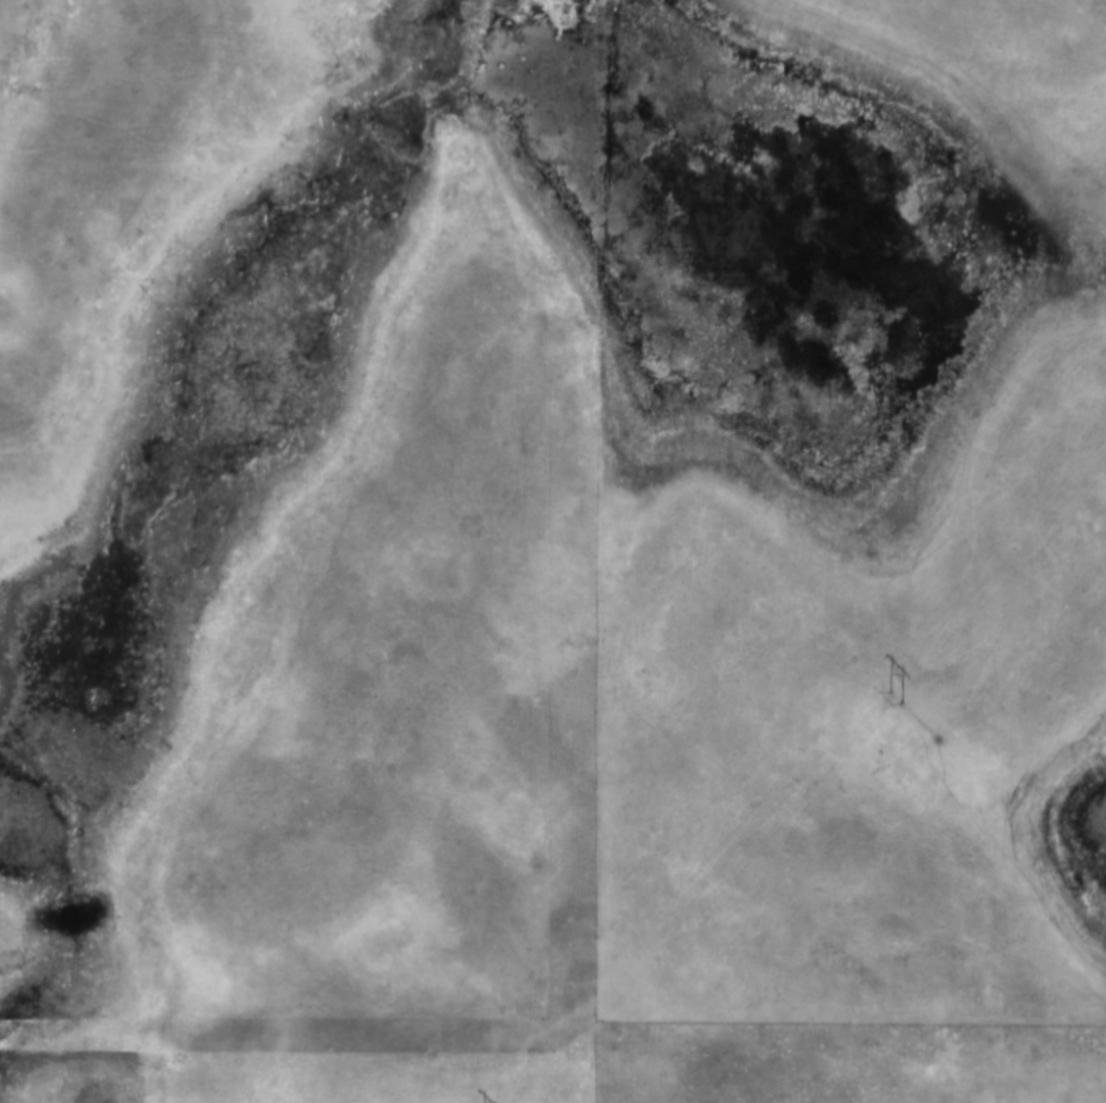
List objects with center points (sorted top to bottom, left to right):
power tower: (895, 697)

